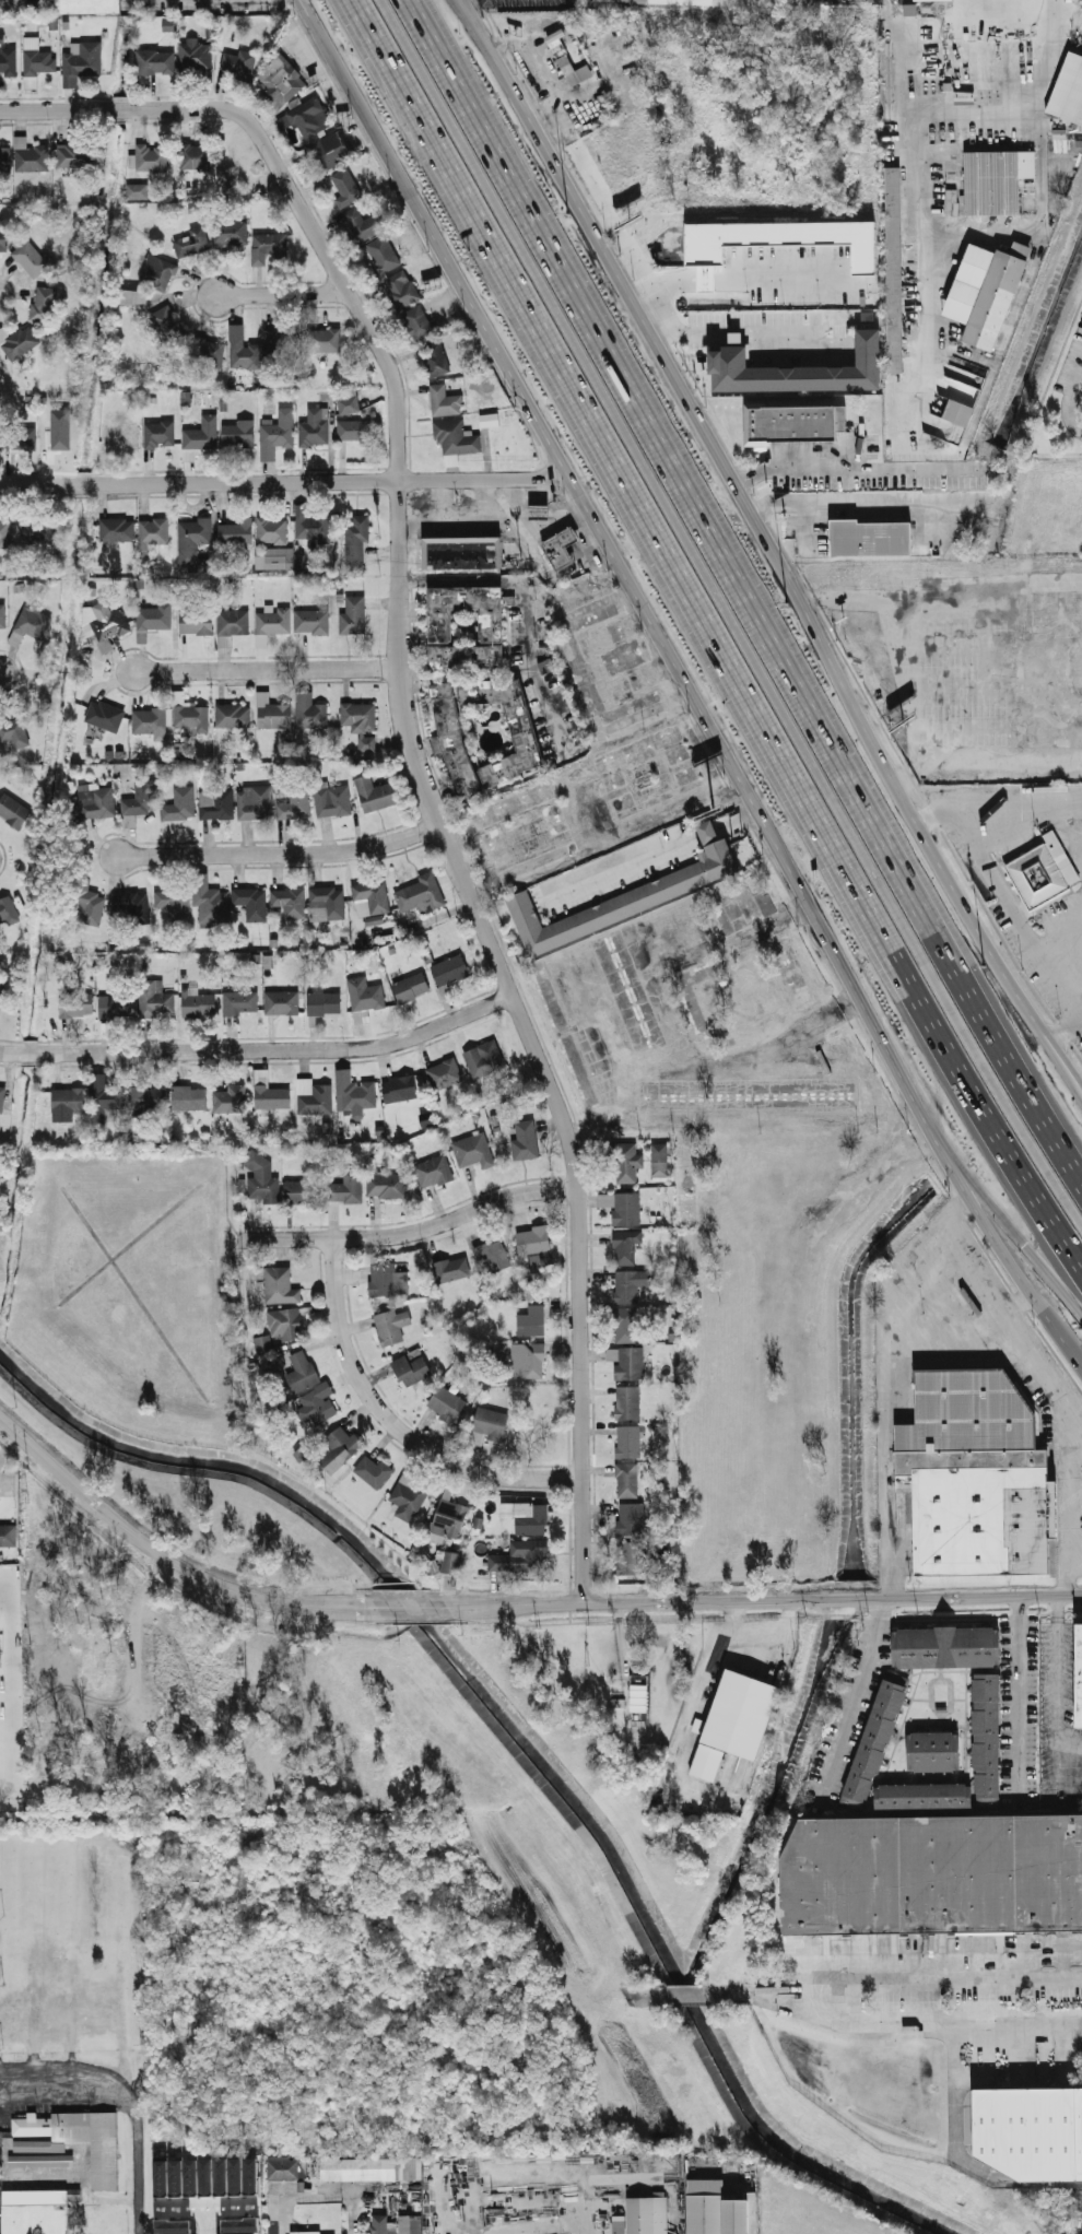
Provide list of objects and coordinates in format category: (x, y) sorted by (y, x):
building: (784, 1)
road: (895, 1)
parking lot: (525, 3)
building: (82, 5)
road: (894, 17)
road: (960, 31)
road: (485, 50)
building: (195, 56)
building: (8, 61)
building: (158, 61)
building: (81, 62)
building: (238, 64)
building: (38, 66)
building: (574, 71)
building: (280, 81)
building: (1069, 90)
road: (118, 108)
road: (54, 109)
road: (979, 111)
building: (316, 133)
building: (70, 155)
building: (31, 156)
building: (151, 157)
building: (196, 157)
building: (4, 158)
building: (226, 178)
building: (997, 181)
building: (345, 187)
building: (137, 191)
building: (363, 224)
building: (231, 234)
road: (625, 236)
building: (780, 238)
building: (3, 239)
road: (318, 239)
building: (192, 242)
building: (267, 246)
building: (381, 255)
building: (31, 258)
road: (823, 262)
building: (895, 270)
building: (156, 272)
building: (706, 278)
road: (788, 278)
road: (706, 279)
building: (401, 289)
road: (665, 289)
building: (989, 291)
road: (282, 294)
building: (134, 296)
building: (44, 304)
building: (166, 322)
building: (419, 322)
road: (816, 330)
road: (750, 333)
building: (324, 340)
building: (19, 342)
building: (283, 346)
building: (243, 350)
building: (208, 354)
building: (435, 358)
building: (796, 371)
road: (1069, 399)
building: (444, 401)
building: (348, 403)
building: (957, 413)
building: (489, 420)
building: (796, 423)
building: (314, 428)
building: (120, 431)
building: (355, 431)
building: (277, 433)
building: (160, 434)
building: (238, 434)
building: (55, 436)
building: (199, 437)
building: (455, 437)
building: (20, 438)
road: (856, 468)
road: (332, 482)
road: (84, 484)
road: (36, 485)
road: (862, 501)
building: (541, 514)
building: (311, 526)
building: (117, 529)
building: (5, 530)
building: (271, 530)
building: (38, 531)
building: (154, 531)
building: (237, 531)
building: (192, 538)
building: (871, 538)
building: (356, 540)
road: (769, 549)
building: (562, 550)
building: (463, 555)
building: (274, 558)
building: (299, 562)
road: (739, 590)
road: (525, 603)
building: (1075, 608)
road: (728, 612)
road: (936, 612)
building: (2, 615)
building: (352, 615)
building: (154, 616)
building: (234, 622)
building: (272, 622)
building: (311, 622)
building: (34, 623)
building: (197, 623)
building: (106, 624)
building: (443, 627)
road: (710, 634)
building: (469, 659)
road: (268, 669)
parking lot: (974, 669)
road: (684, 681)
road: (910, 687)
building: (188, 713)
building: (310, 713)
building: (105, 715)
building: (233, 715)
building: (274, 715)
building: (150, 720)
building: (361, 724)
building: (14, 731)
building: (527, 731)
building: (456, 742)
road: (985, 756)
building: (375, 795)
road: (998, 797)
building: (96, 801)
building: (139, 801)
building: (332, 801)
building: (255, 802)
building: (180, 803)
building: (295, 803)
building: (216, 804)
building: (13, 811)
road: (738, 821)
building: (708, 834)
road: (708, 834)
road: (283, 854)
road: (625, 869)
building: (1038, 878)
building: (373, 895)
building: (421, 895)
building: (209, 901)
building: (289, 902)
building: (623, 902)
building: (251, 903)
building: (174, 904)
building: (327, 904)
building: (133, 906)
building: (91, 908)
building: (8, 910)
road: (1019, 916)
building: (448, 974)
building: (410, 987)
building: (2, 995)
building: (365, 996)
building: (155, 999)
building: (197, 1003)
building: (240, 1003)
building: (281, 1003)
building: (77, 1004)
building: (324, 1004)
building: (116, 1006)
road: (1081, 1020)
road: (1063, 1031)
road: (529, 1036)
road: (278, 1048)
road: (10, 1055)
road: (27, 1056)
building: (483, 1057)
building: (444, 1072)
building: (399, 1089)
building: (269, 1093)
building: (354, 1094)
building: (148, 1097)
building: (188, 1097)
building: (2, 1100)
building: (68, 1100)
building: (102, 1100)
building: (228, 1100)
building: (316, 1100)
road: (16, 1121)
building: (524, 1141)
building: (473, 1150)
building: (659, 1160)
building: (626, 1163)
building: (433, 1169)
building: (261, 1178)
building: (387, 1185)
building: (346, 1188)
building: (301, 1191)
building: (623, 1208)
road: (412, 1232)
building: (531, 1241)
road: (1022, 1241)
building: (625, 1246)
building: (493, 1254)
building: (449, 1269)
building: (388, 1282)
building: (277, 1284)
building: (628, 1285)
road: (901, 1318)
building: (532, 1321)
building: (291, 1325)
building: (624, 1325)
building: (393, 1327)
building: (261, 1344)
building: (527, 1361)
building: (626, 1361)
building: (410, 1369)
building: (302, 1372)
building: (626, 1402)
building: (445, 1403)
building: (317, 1406)
building: (490, 1422)
road: (393, 1427)
building: (626, 1441)
road: (10, 1444)
building: (339, 1450)
building: (373, 1471)
building: (626, 1480)
building: (973, 1480)
building: (408, 1496)
building: (526, 1516)
building: (448, 1517)
building: (630, 1518)
building: (8, 1535)
road: (162, 1552)
building: (519, 1556)
building: (633, 1556)
building: (450, 1562)
road: (1065, 1576)
road: (972, 1598)
road: (139, 1600)
road: (843, 1600)
road: (403, 1606)
road: (634, 1606)
road: (408, 1622)
road: (760, 1631)
road: (619, 1638)
building: (944, 1646)
building: (1077, 1674)
road: (857, 1688)
building: (636, 1692)
road: (1018, 1695)
road: (1056, 1704)
building: (739, 1721)
building: (985, 1733)
river: (520, 1739)
building: (870, 1743)
building: (931, 1752)
building: (0, 1765)
building: (921, 1797)
building: (933, 1873)
road: (925, 1976)
road: (646, 1994)
road: (687, 1994)
road: (740, 1996)
road: (926, 2023)
road: (124, 2100)
building: (1081, 2117)
building: (1032, 2131)
building: (74, 2140)
building: (39, 2160)
building: (371, 2170)
building: (283, 2171)
road: (548, 2173)
road: (308, 2191)
road: (205, 2204)
building: (726, 2209)
building: (34, 2212)
road: (610, 2212)
building: (651, 2214)
road: (209, 2219)
building: (379, 2224)
building: (616, 2224)
building: (409, 2225)
building: (306, 2233)

